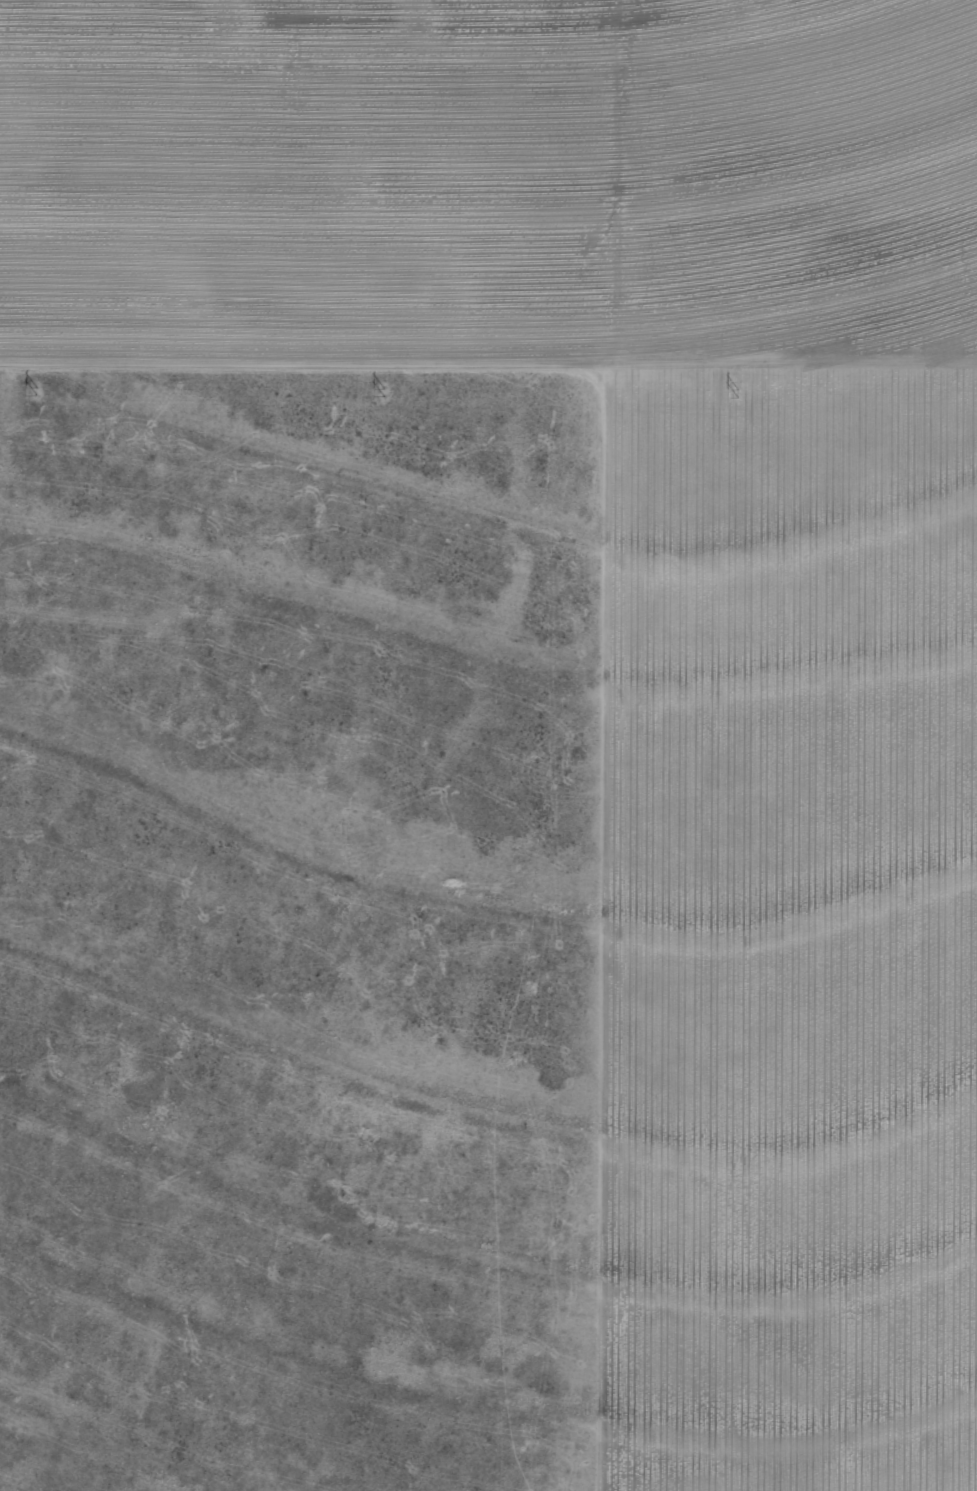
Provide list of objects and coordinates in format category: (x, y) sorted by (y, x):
road: (488, 379)
power tower: (31, 386)
power tower: (382, 390)
power tower: (734, 391)

